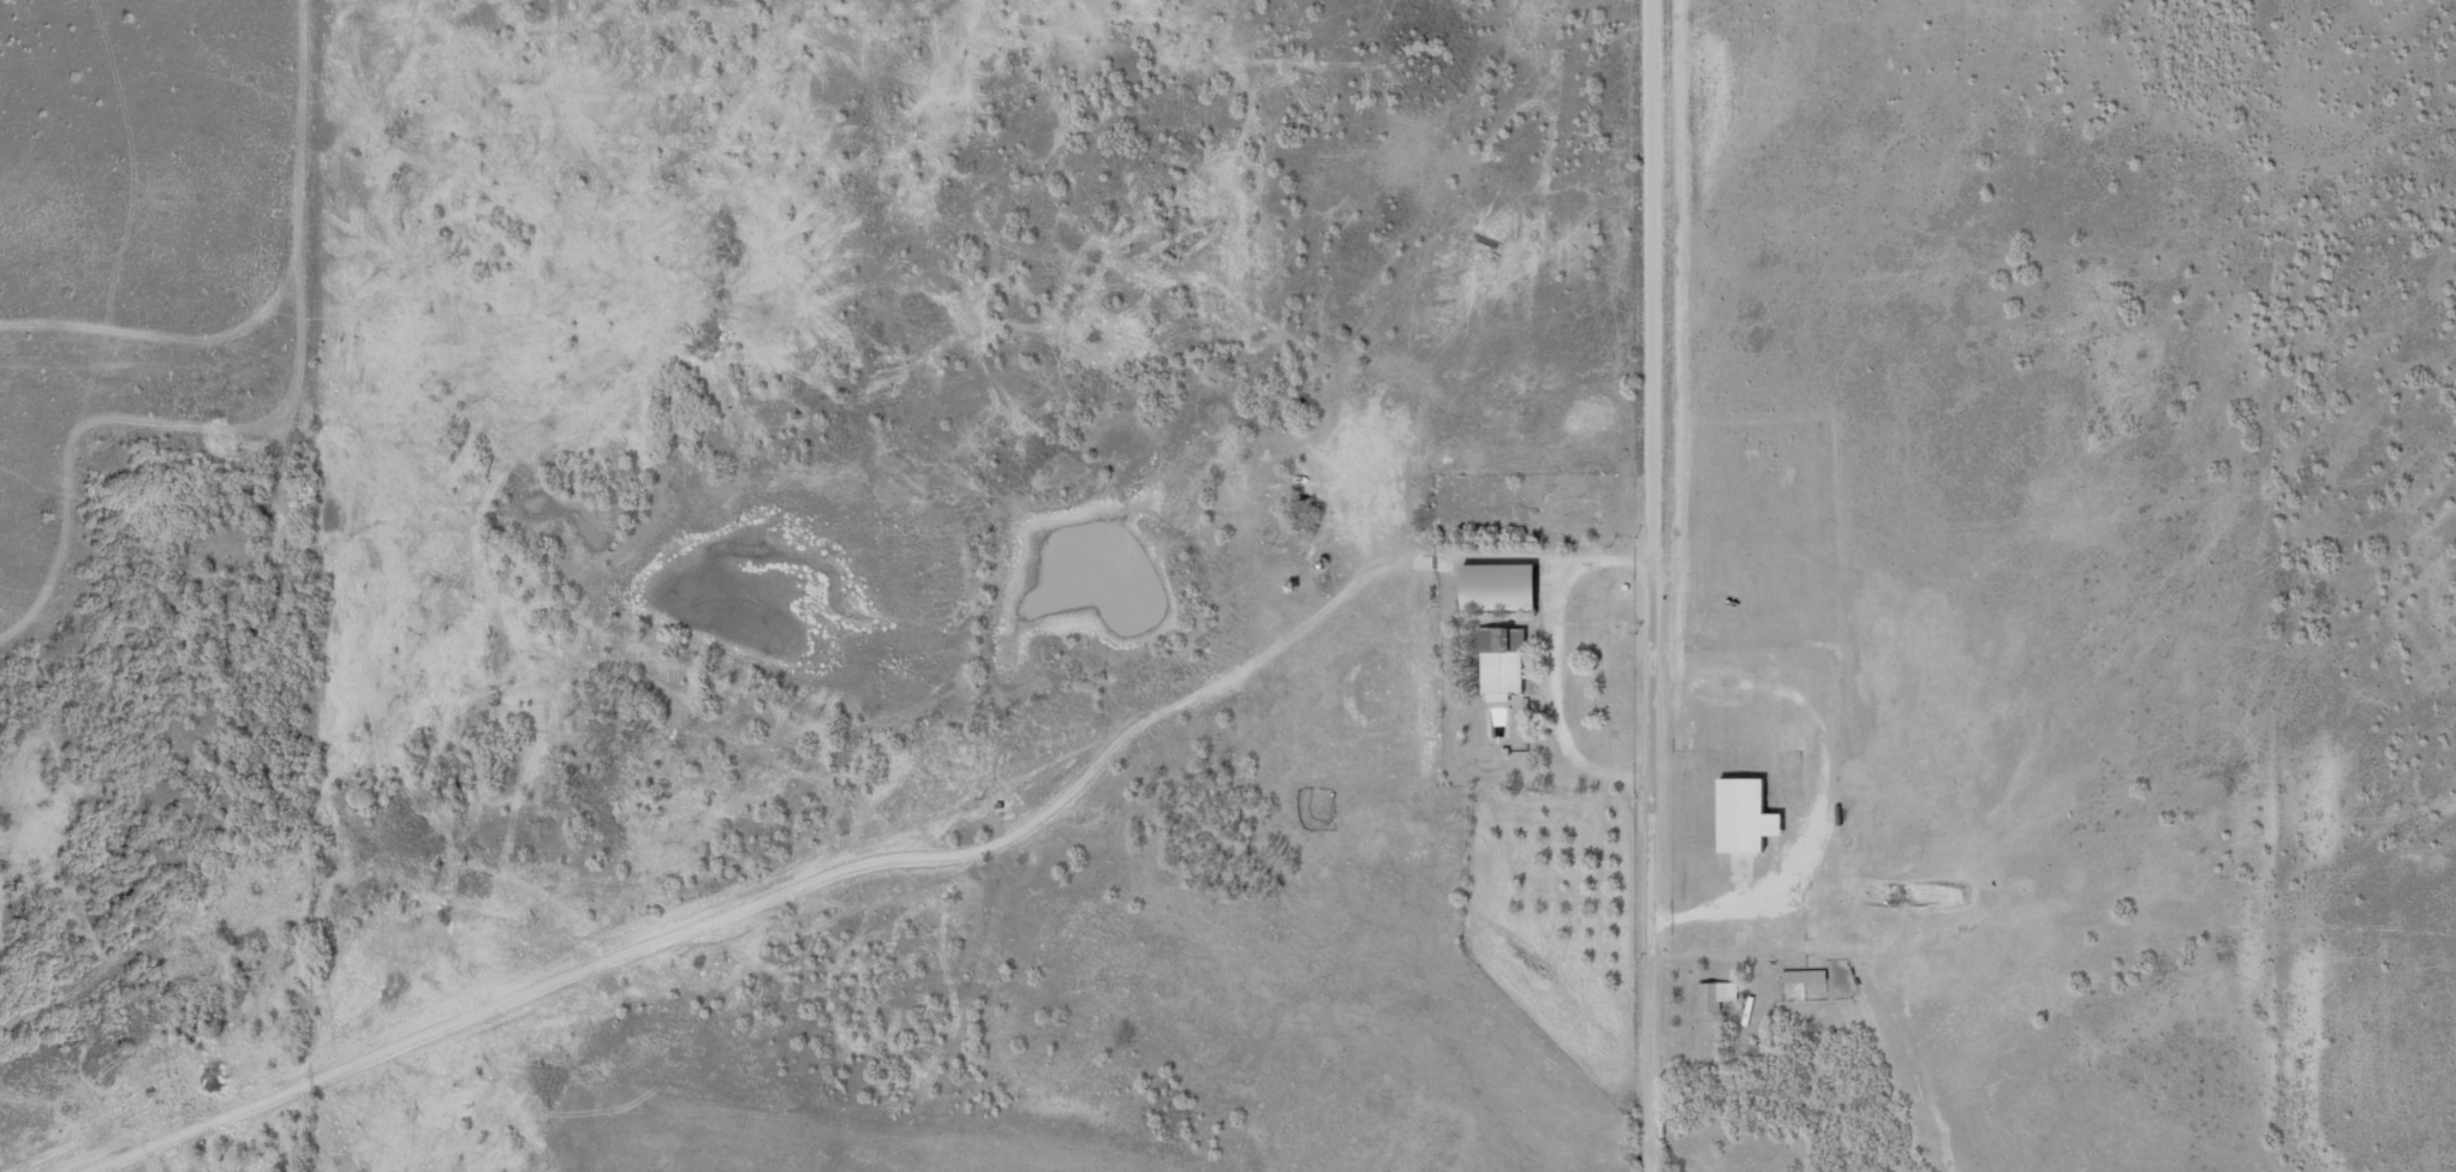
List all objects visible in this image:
road: (287, 250)
building: (1495, 586)
road: (1641, 586)
building: (1497, 670)
building: (1800, 976)
building: (1711, 995)

